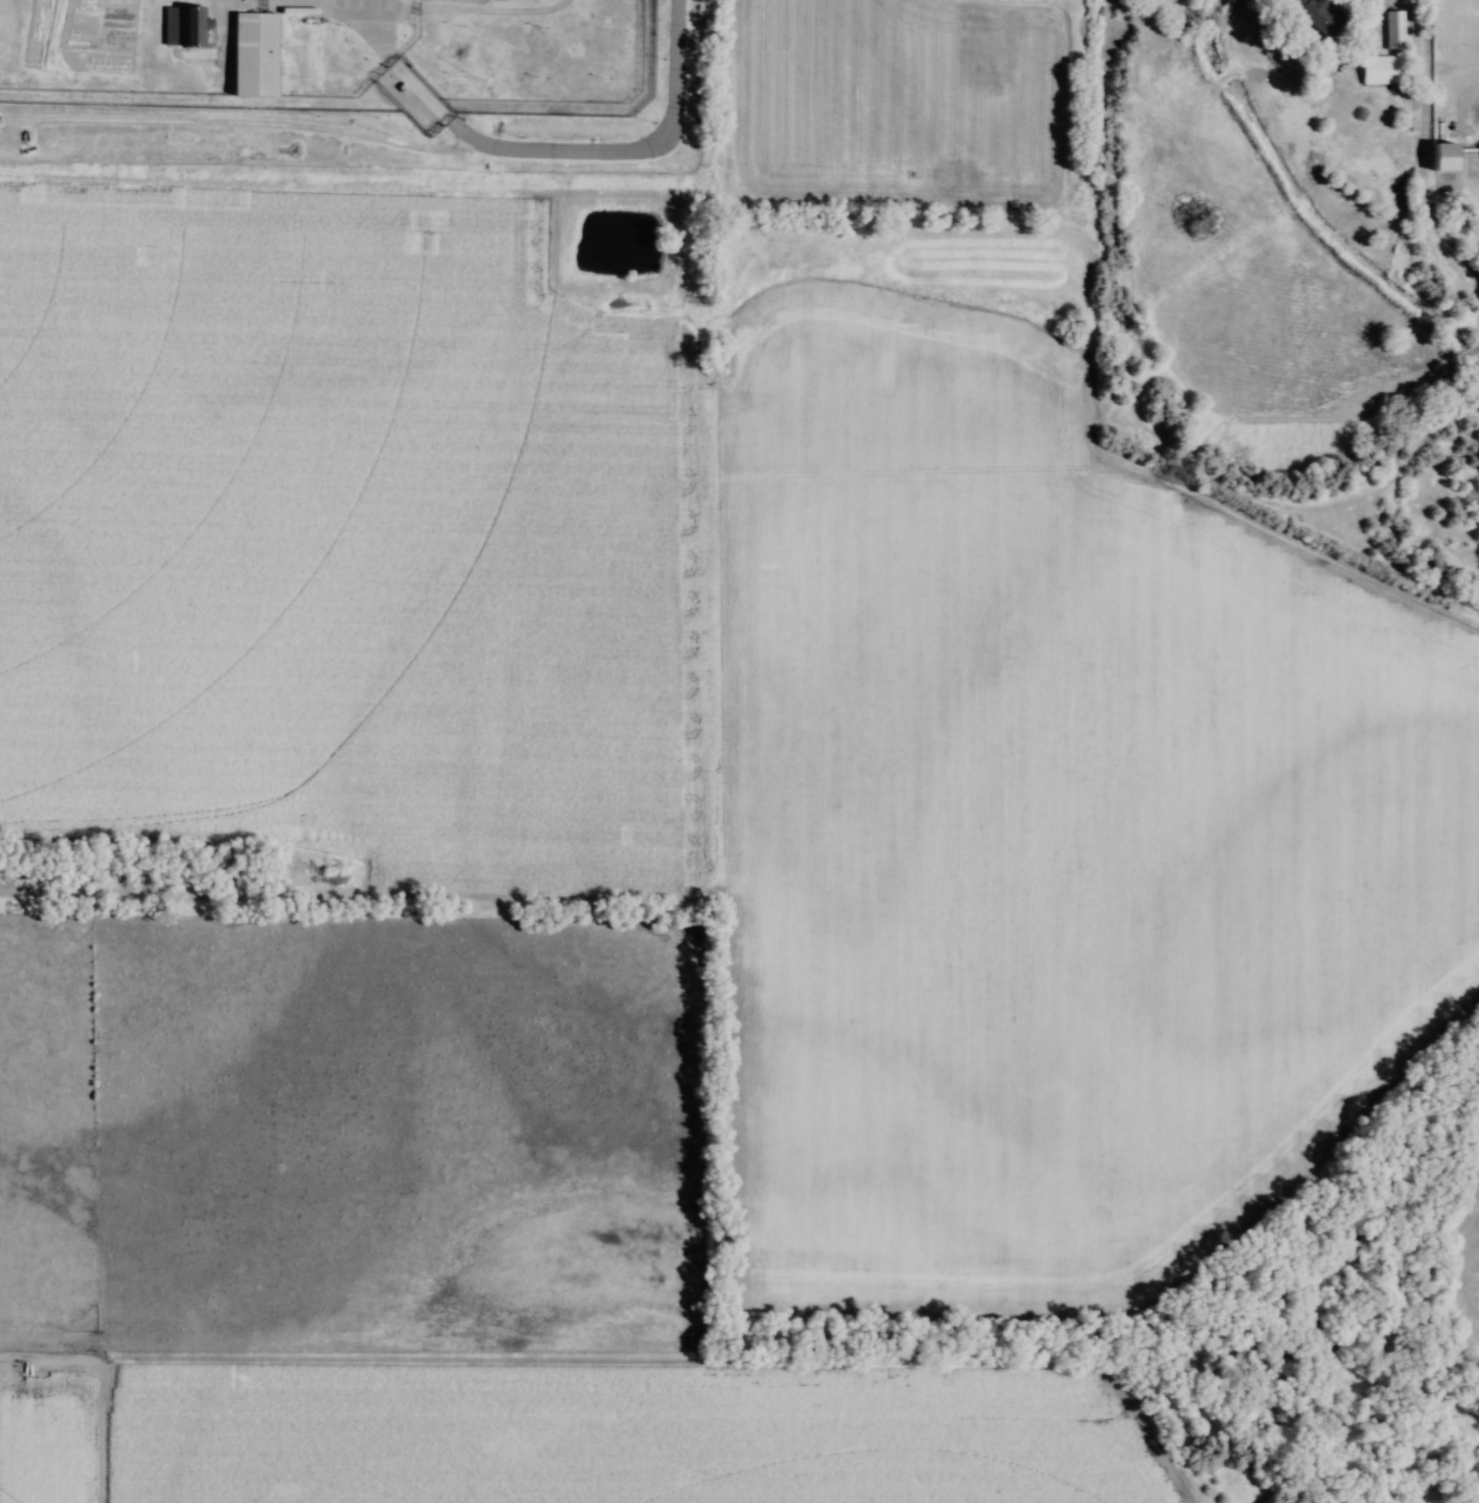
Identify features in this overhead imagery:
building: (1316, 15)
road: (1361, 18)
building: (181, 27)
building: (1392, 30)
road: (1445, 53)
building: (252, 55)
building: (1382, 73)
road: (544, 150)
building: (1442, 156)
crop: (343, 536)
crop: (1064, 876)
crop: (625, 1430)
crop: (48, 1434)

